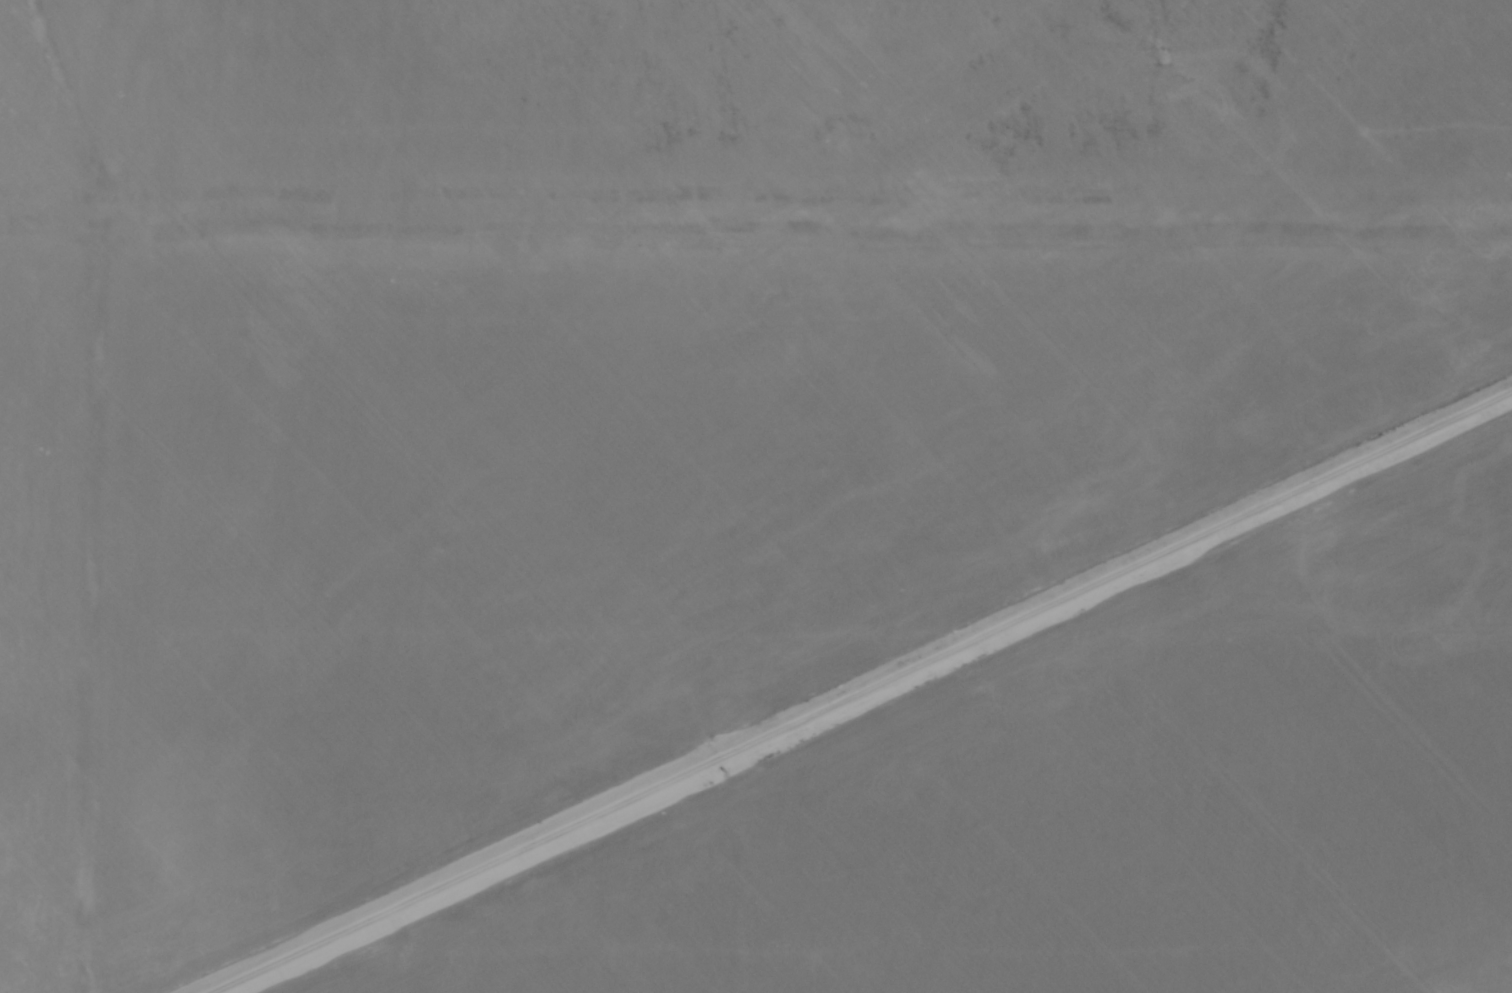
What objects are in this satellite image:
road: (60, 490)

